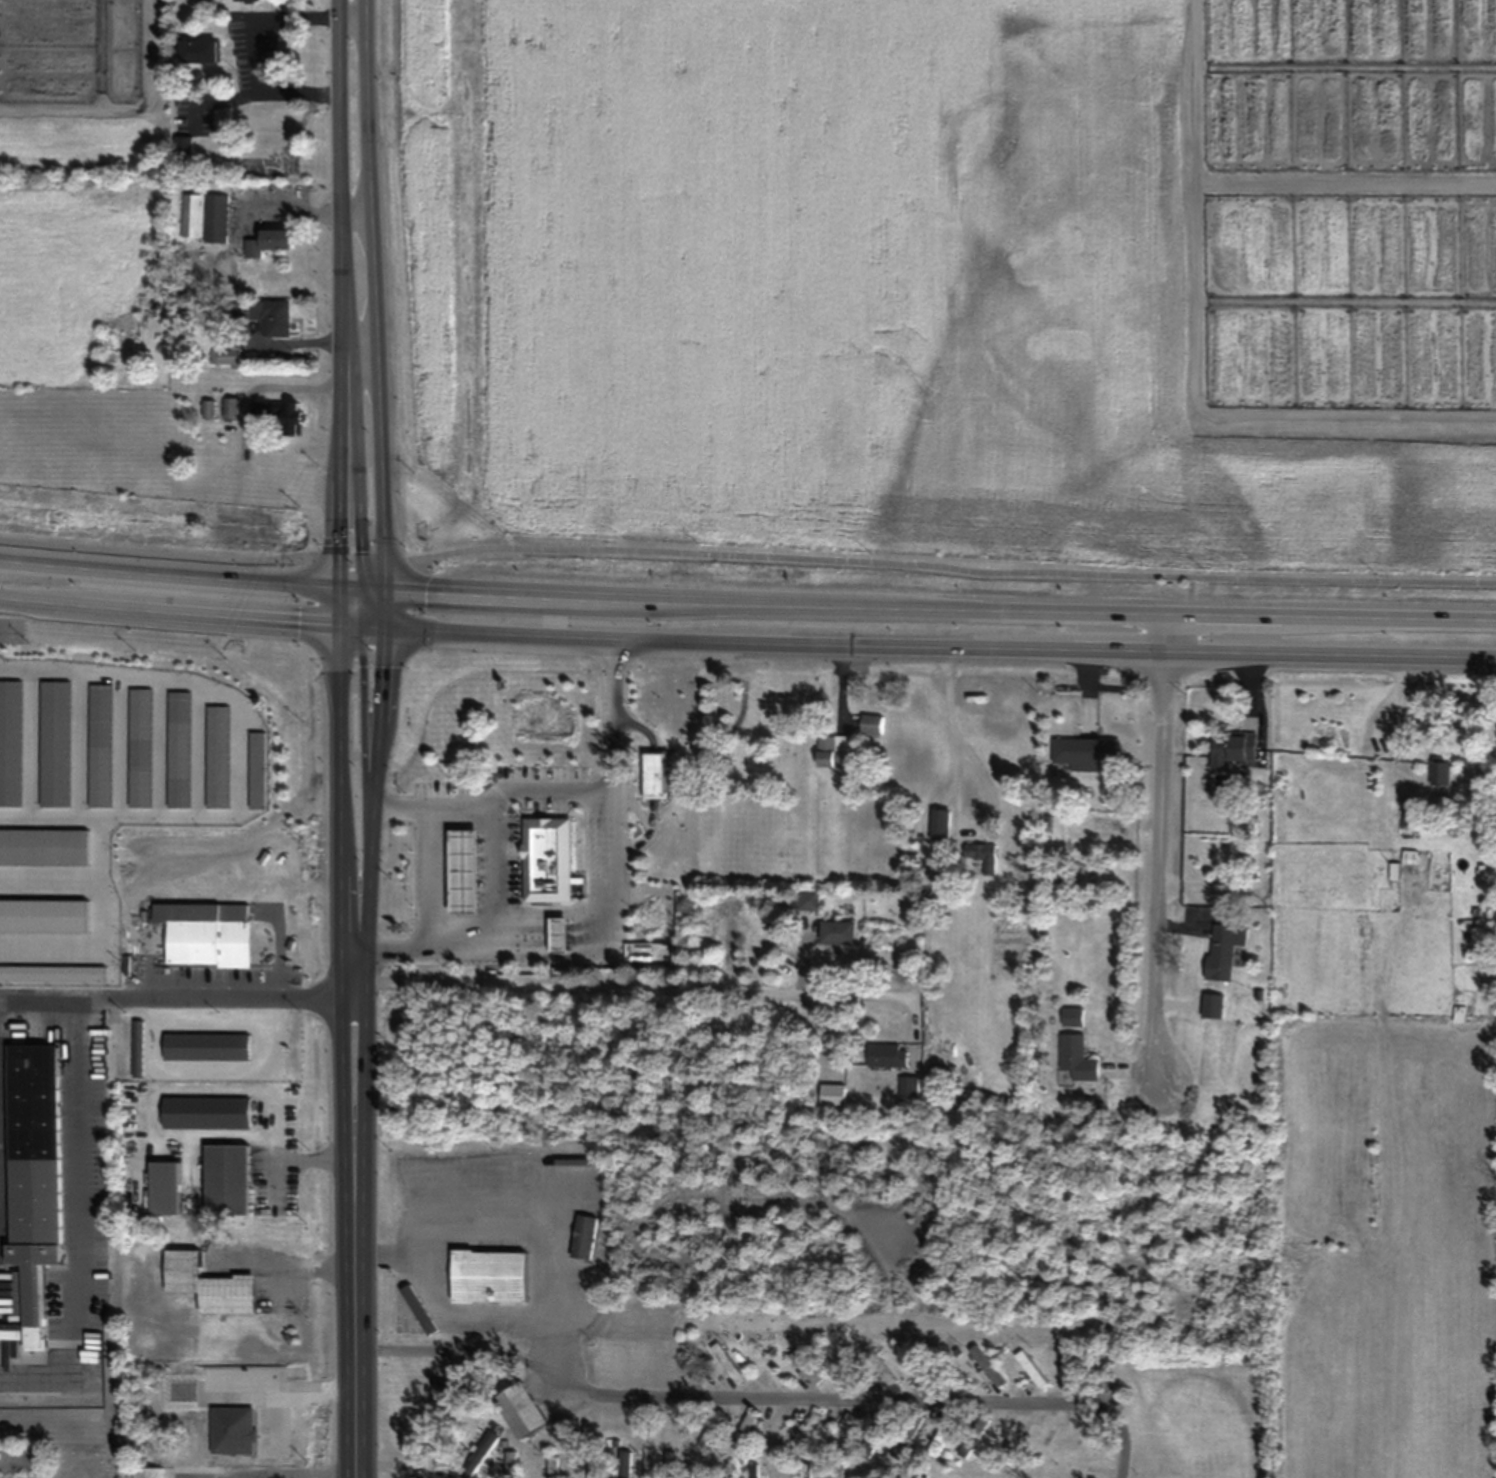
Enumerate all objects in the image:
building: (251, 0)
road: (253, 35)
building: (201, 52)
road: (369, 94)
road: (341, 95)
building: (187, 147)
building: (192, 216)
building: (217, 219)
crop: (84, 241)
building: (271, 241)
crop: (949, 274)
building: (272, 316)
building: (226, 356)
road: (343, 387)
road: (384, 388)
building: (232, 407)
building: (210, 408)
building: (283, 414)
road: (358, 442)
road: (747, 554)
road: (183, 572)
traffic signals: (339, 585)
road: (375, 587)
traffic signals: (383, 588)
road: (338, 604)
road: (350, 604)
road: (373, 607)
road: (383, 607)
road: (939, 608)
road: (169, 609)
traffic signals: (338, 623)
road: (347, 624)
traffic signals: (384, 626)
road: (6, 629)
road: (926, 644)
building: (180, 706)
building: (872, 724)
building: (671, 727)
road: (363, 734)
road: (33, 745)
road: (81, 746)
road: (121, 748)
road: (161, 749)
building: (1233, 750)
building: (834, 751)
road: (203, 752)
building: (1089, 753)
road: (242, 757)
building: (219, 758)
building: (180, 768)
building: (1441, 771)
road: (496, 802)
road: (337, 803)
road: (375, 804)
building: (684, 805)
road: (958, 809)
building: (1410, 816)
building: (942, 824)
road: (1160, 846)
road: (98, 847)
building: (985, 856)
building: (551, 859)
building: (462, 874)
road: (493, 882)
road: (105, 887)
building: (807, 900)
building: (730, 904)
road: (54, 913)
road: (614, 916)
building: (209, 934)
building: (838, 934)
building: (560, 936)
building: (55, 941)
building: (1226, 950)
road: (154, 966)
road: (47, 971)
road: (651, 988)
road: (219, 998)
road: (36, 999)
building: (1075, 1016)
building: (208, 1047)
building: (140, 1049)
building: (890, 1056)
building: (1080, 1058)
road: (211, 1073)
building: (911, 1087)
building: (836, 1095)
road: (81, 1105)
building: (207, 1114)
road: (154, 1123)
road: (267, 1123)
road: (192, 1167)
building: (482, 1175)
building: (29, 1176)
building: (228, 1178)
road: (277, 1182)
building: (165, 1189)
road: (439, 1210)
road: (358, 1230)
building: (584, 1237)
road: (393, 1254)
road: (287, 1264)
building: (488, 1275)
building: (210, 1285)
building: (421, 1309)
road: (81, 1332)
building: (731, 1363)
building: (843, 1364)
building: (881, 1365)
building: (807, 1368)
building: (1033, 1368)
building: (450, 1385)
road: (839, 1398)
building: (522, 1410)
building: (745, 1430)
building: (809, 1433)
building: (843, 1433)
building: (944, 1433)
building: (877, 1435)
building: (908, 1439)
building: (475, 1459)
building: (672, 1464)
building: (626, 1465)
building: (651, 1465)
building: (511, 1466)
building: (556, 1467)
building: (816, 1468)
building: (693, 1470)
building: (732, 1470)
building: (754, 1470)
building: (841, 1470)
building: (594, 1471)
building: (149, 1473)

